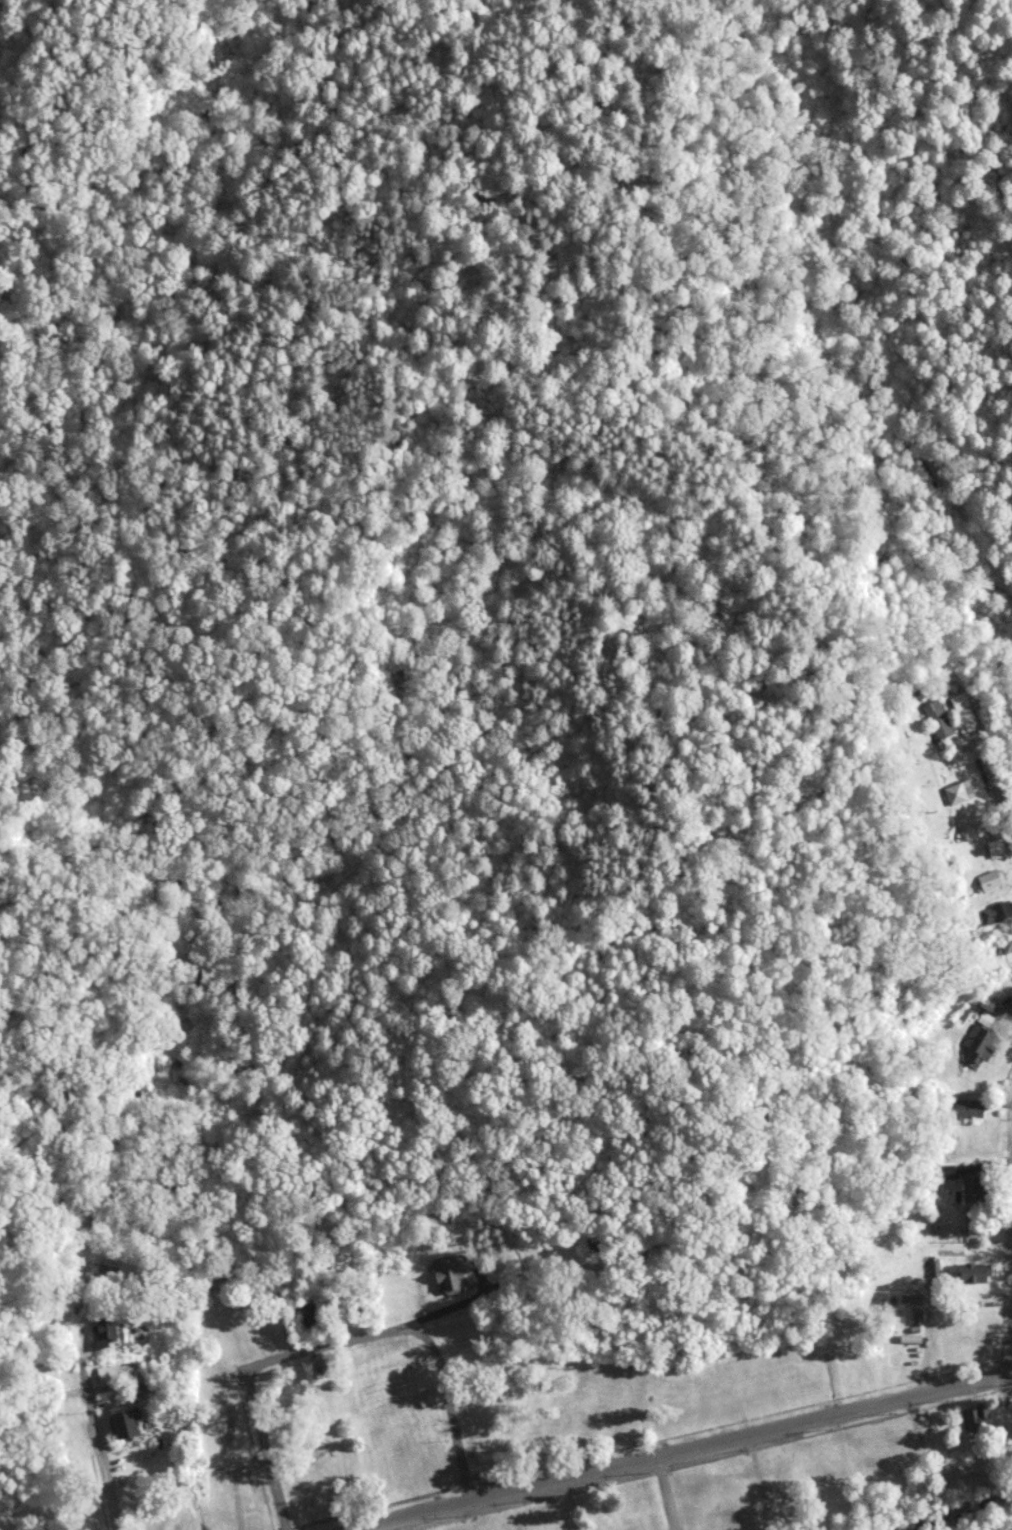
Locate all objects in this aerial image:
building: (934, 717)
building: (959, 794)
road: (1002, 817)
building: (984, 879)
building: (998, 908)
building: (1003, 941)
building: (962, 1015)
building: (974, 1042)
building: (959, 1109)
building: (948, 1172)
building: (978, 1186)
building: (650, 1258)
building: (968, 1271)
building: (449, 1273)
road: (454, 1309)
building: (310, 1316)
building: (104, 1333)
road: (927, 1338)
road: (340, 1345)
building: (320, 1372)
building: (117, 1373)
building: (975, 1415)
building: (129, 1425)
road: (98, 1447)
road: (685, 1452)
road: (666, 1494)

